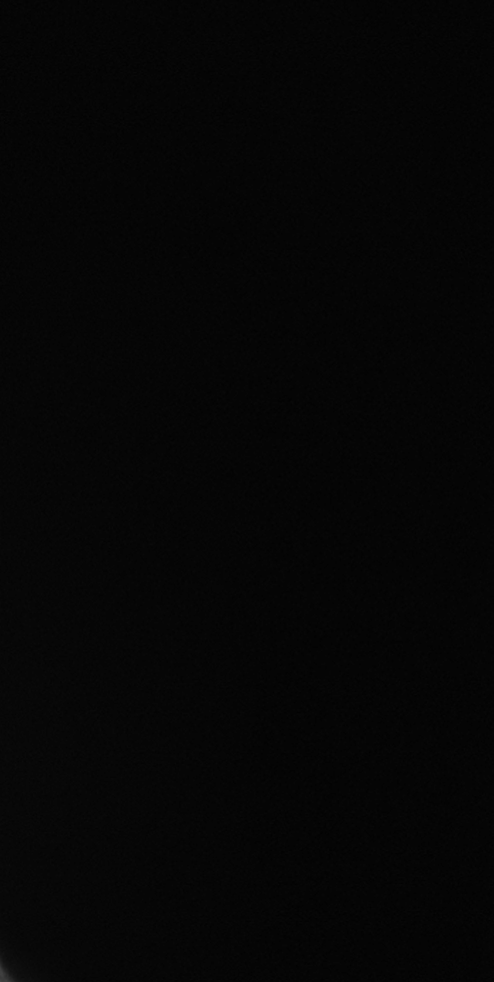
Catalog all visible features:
river: (421, 155)

